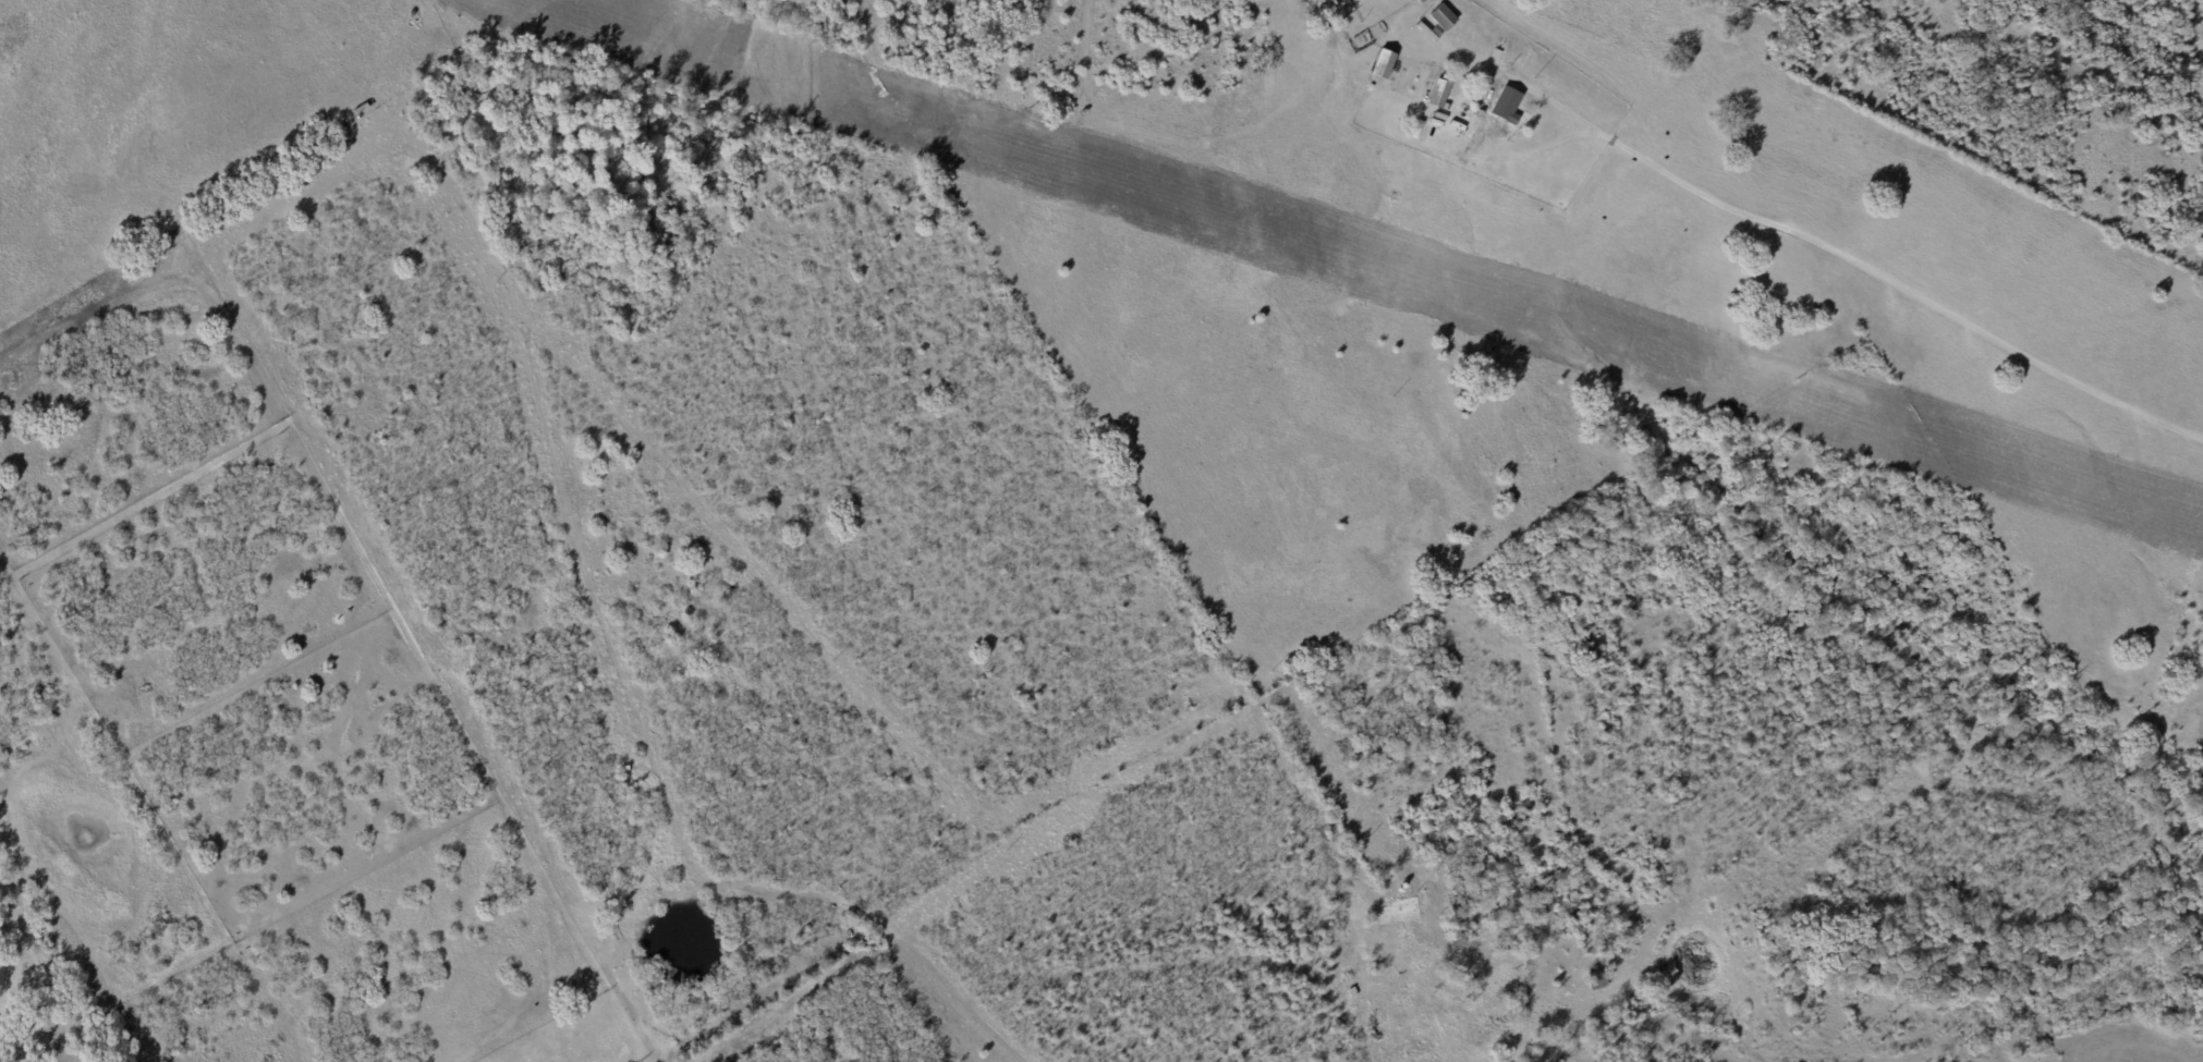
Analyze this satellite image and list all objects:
building: (1383, 63)
road: (1901, 281)
road: (1435, 1026)

